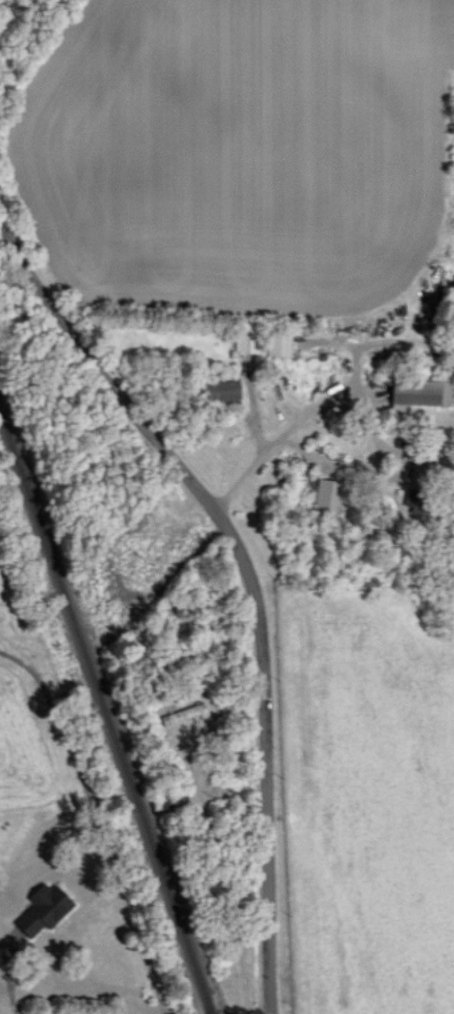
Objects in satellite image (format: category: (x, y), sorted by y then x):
building: (247, 340)
building: (279, 344)
building: (222, 389)
building: (418, 394)
road: (278, 437)
building: (419, 482)
building: (328, 495)
road: (253, 577)
railway: (106, 709)
building: (183, 713)
road: (98, 824)
building: (44, 909)

